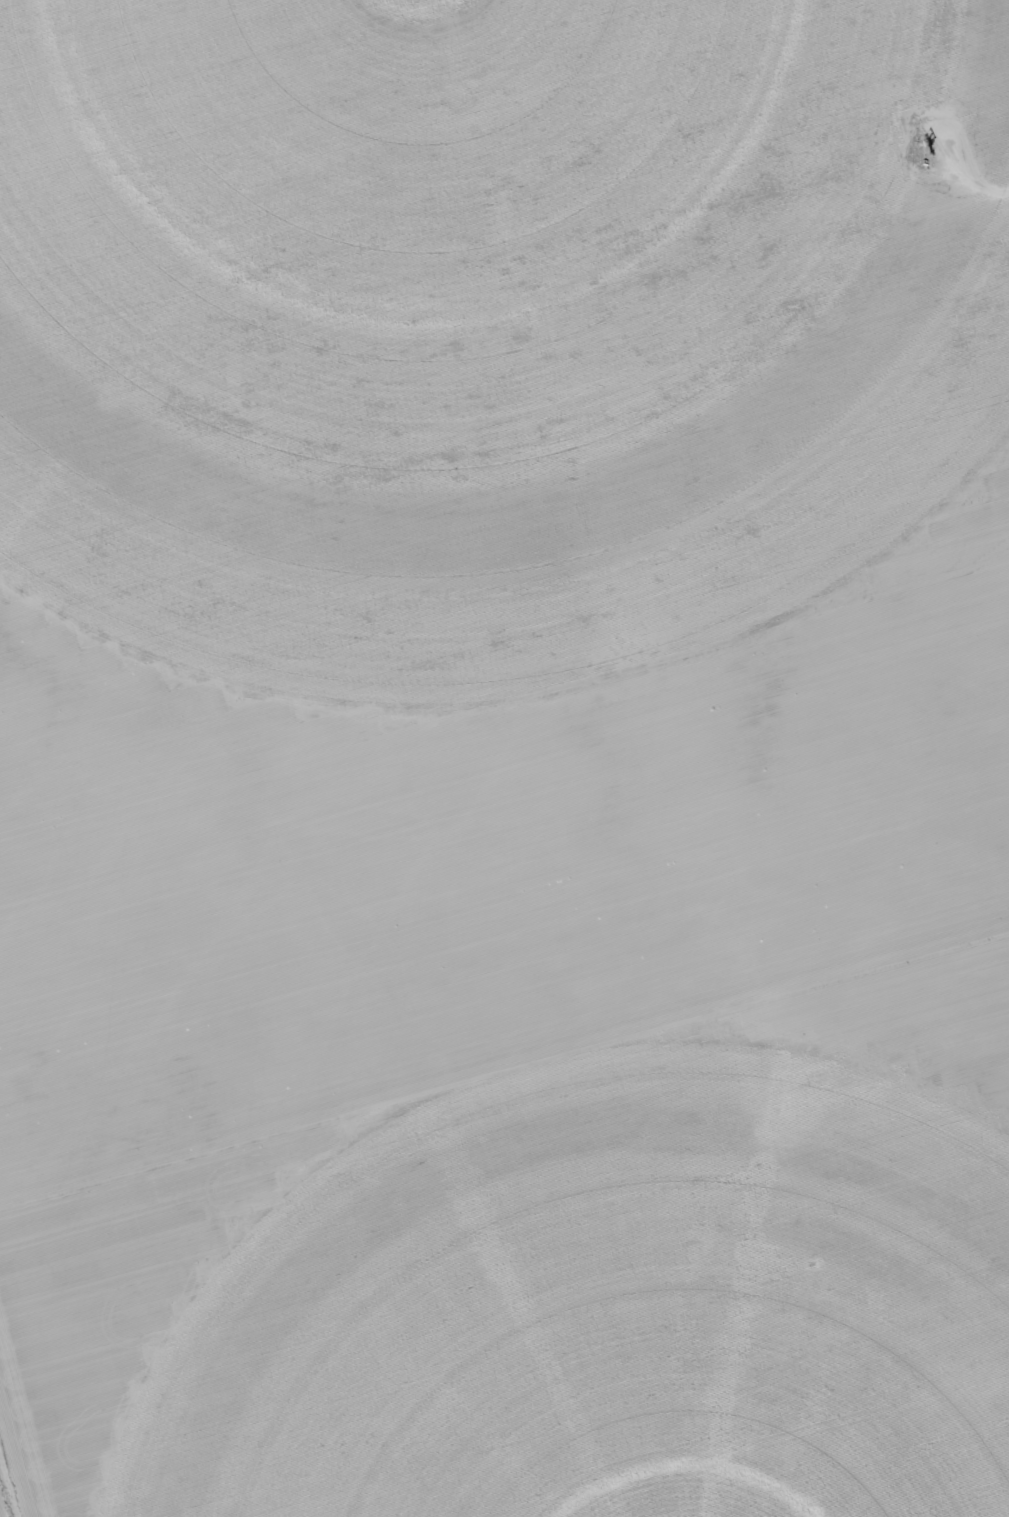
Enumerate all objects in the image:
road: (120, 769)

